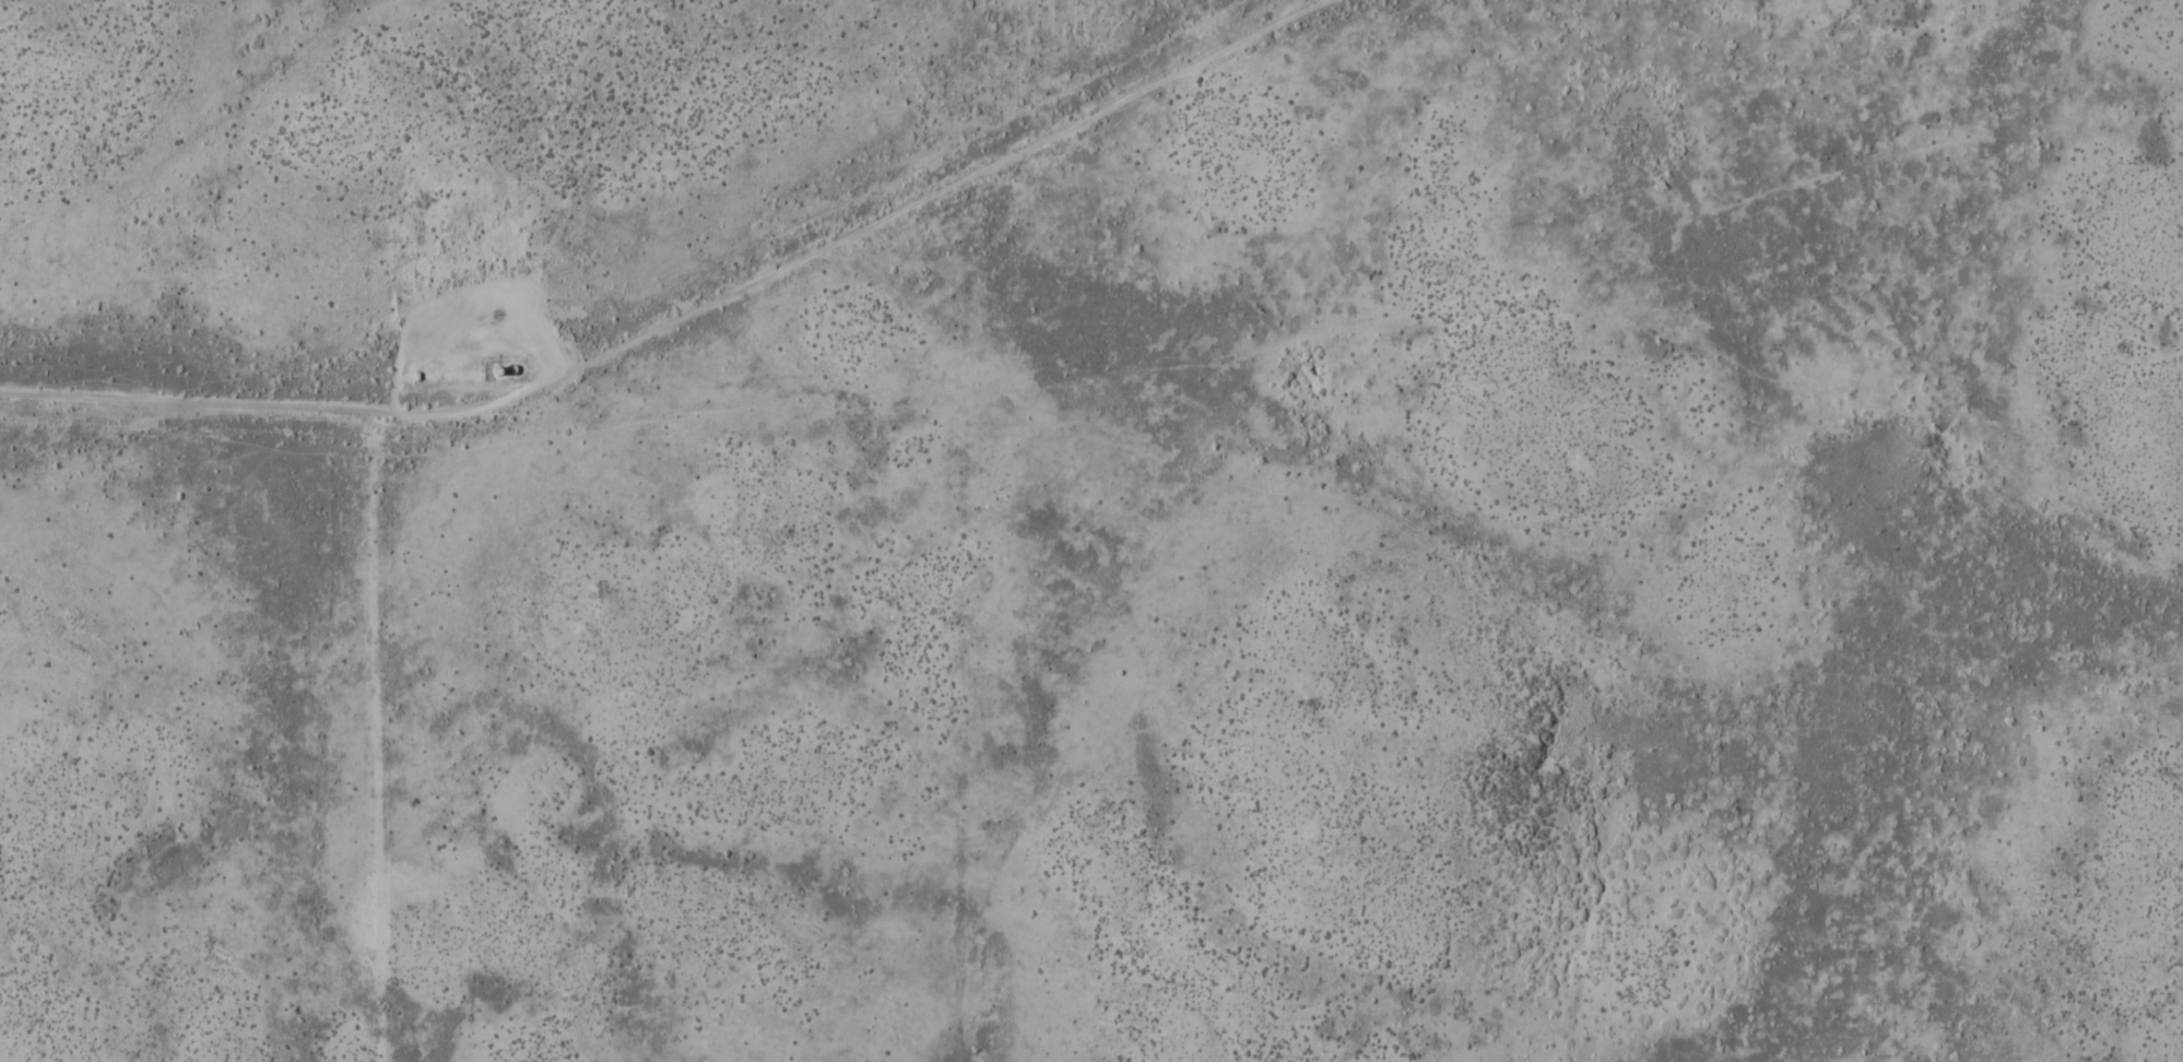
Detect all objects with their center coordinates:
road: (688, 308)
road: (376, 734)

